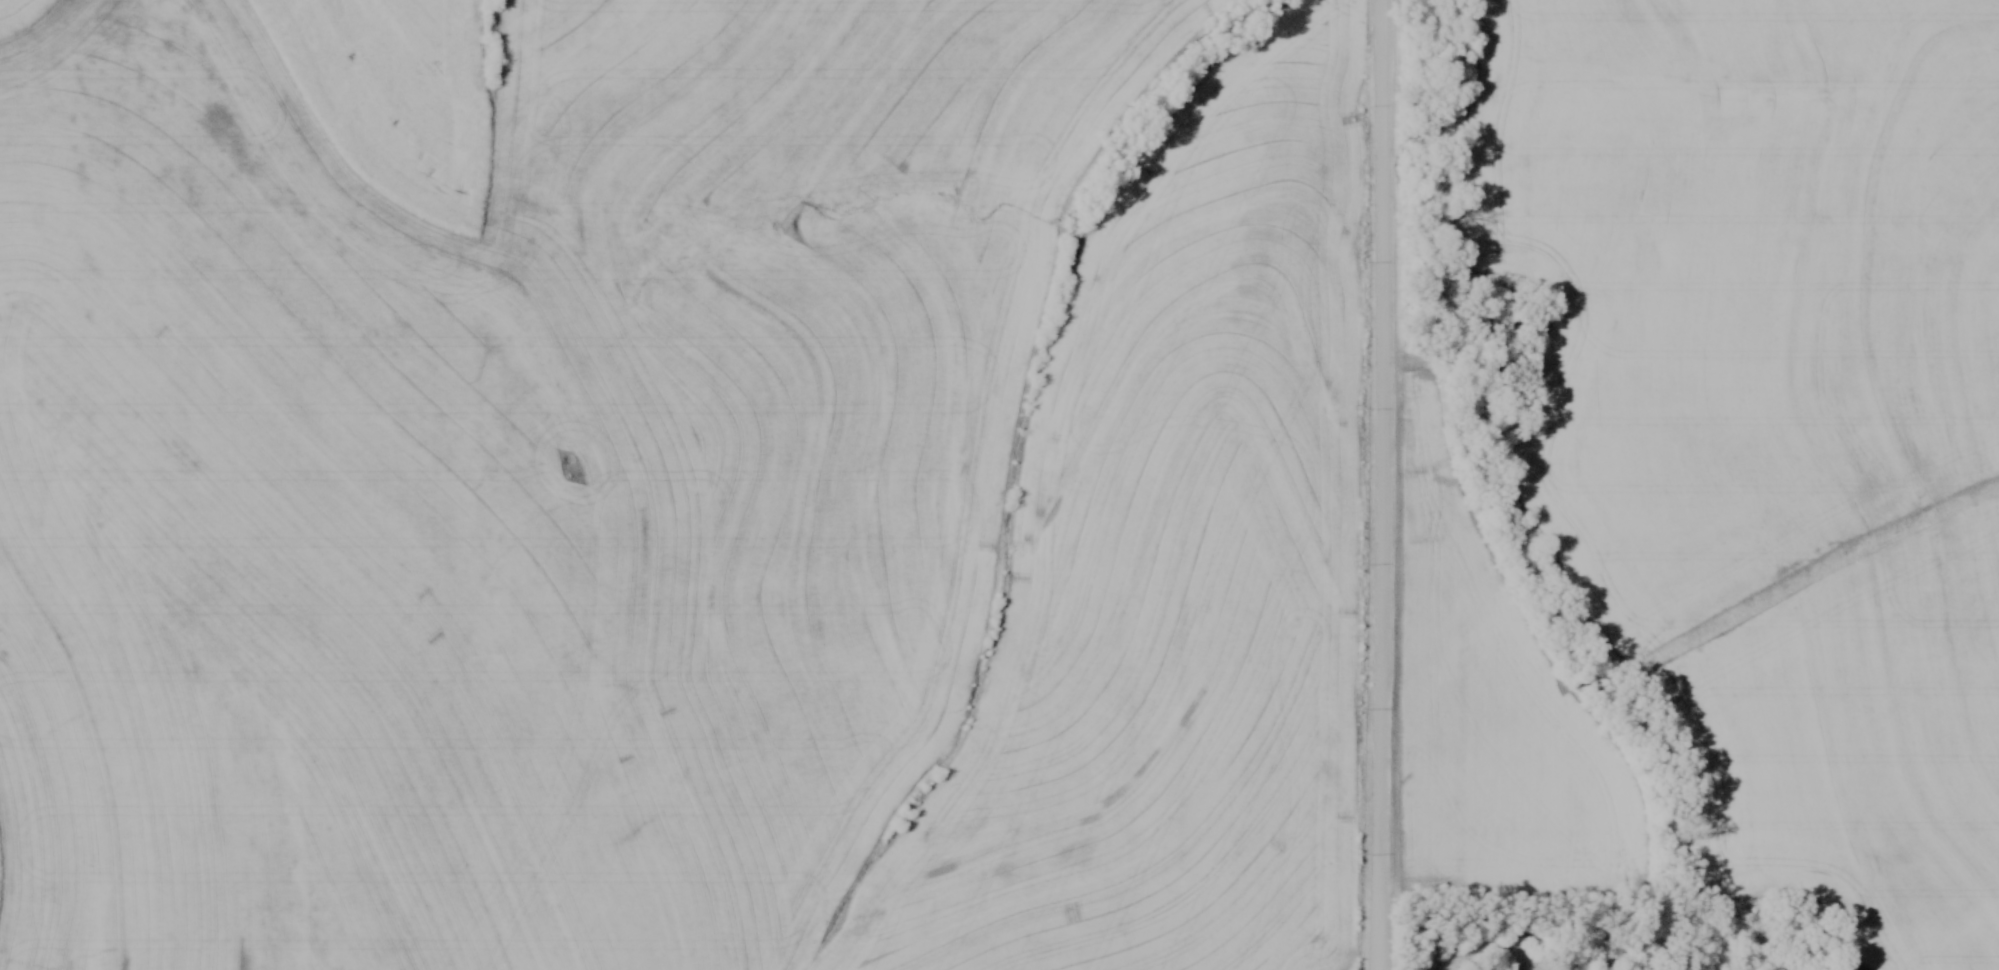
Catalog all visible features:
road: (1383, 485)

